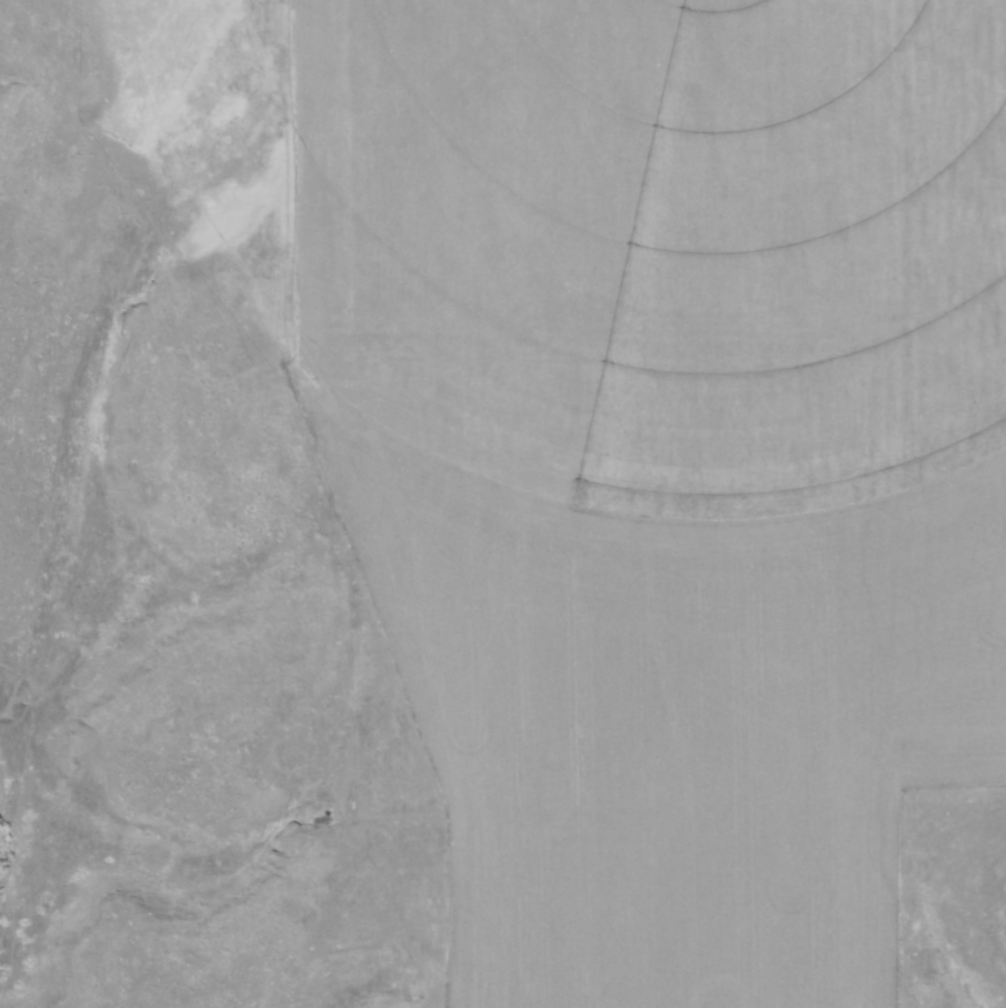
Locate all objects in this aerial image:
crop: (656, 239)

